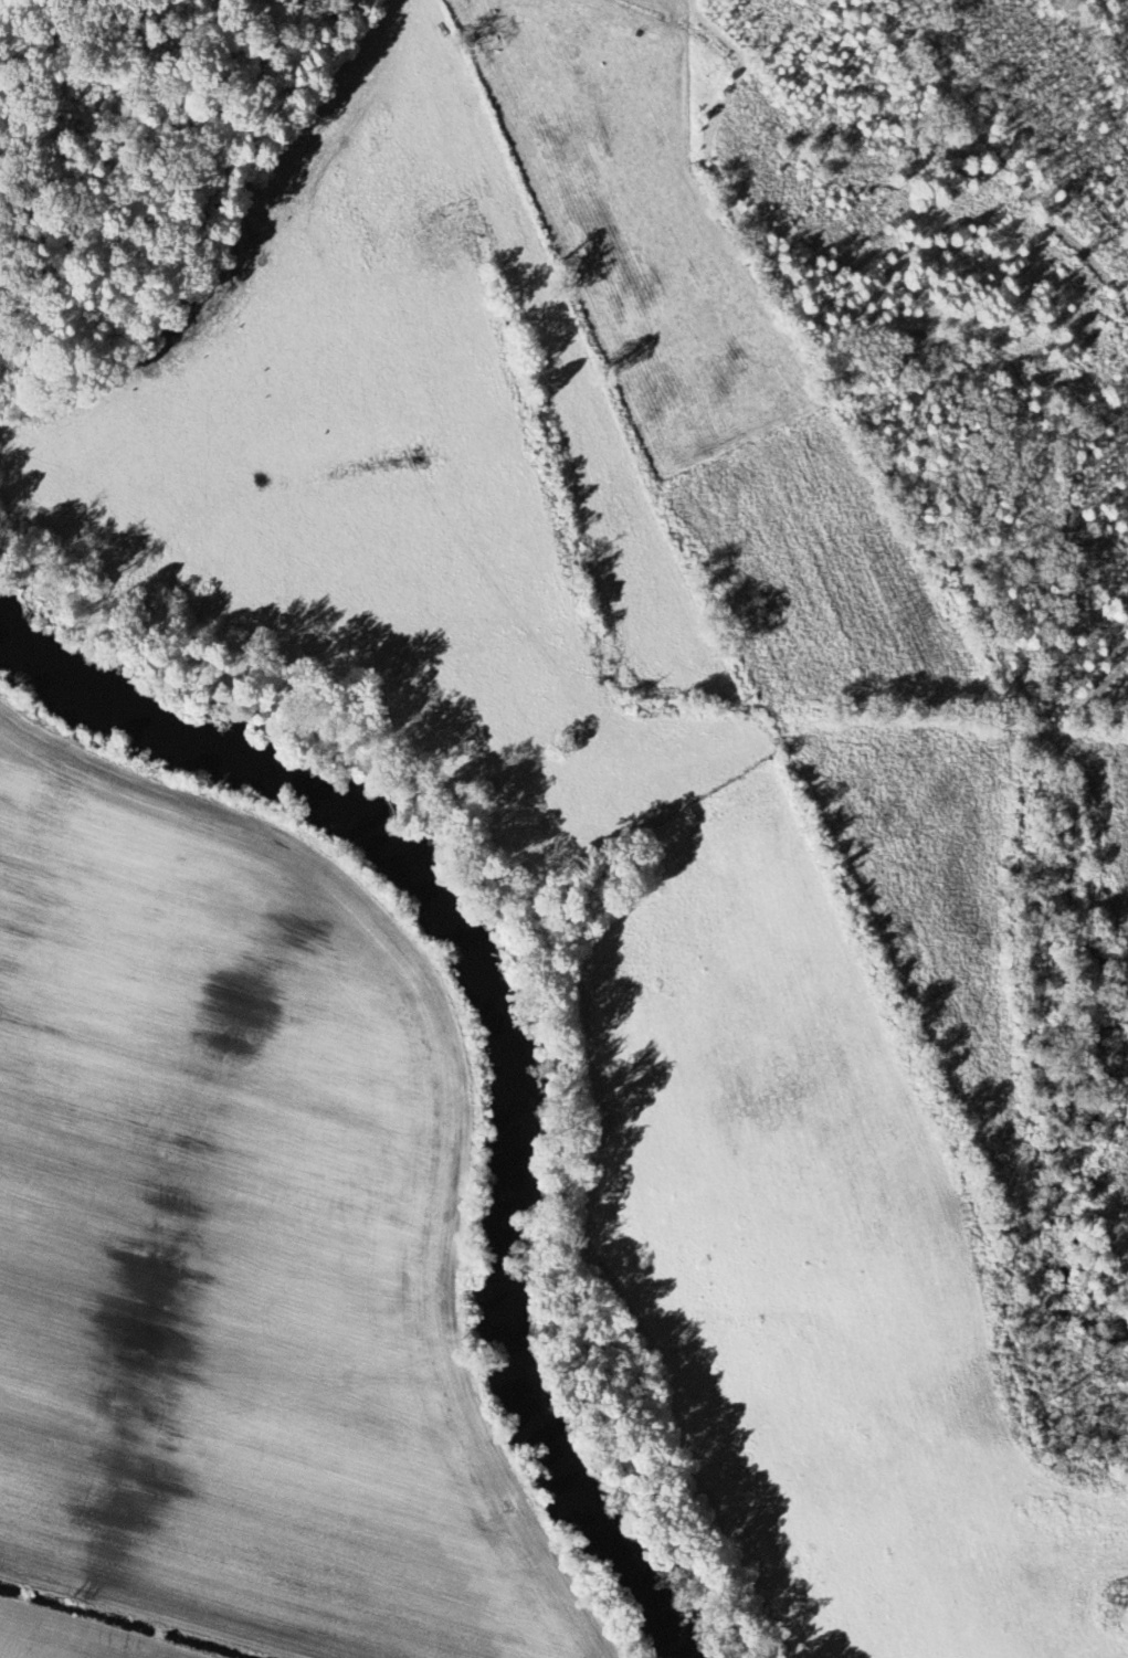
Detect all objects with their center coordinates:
river: (497, 1035)

